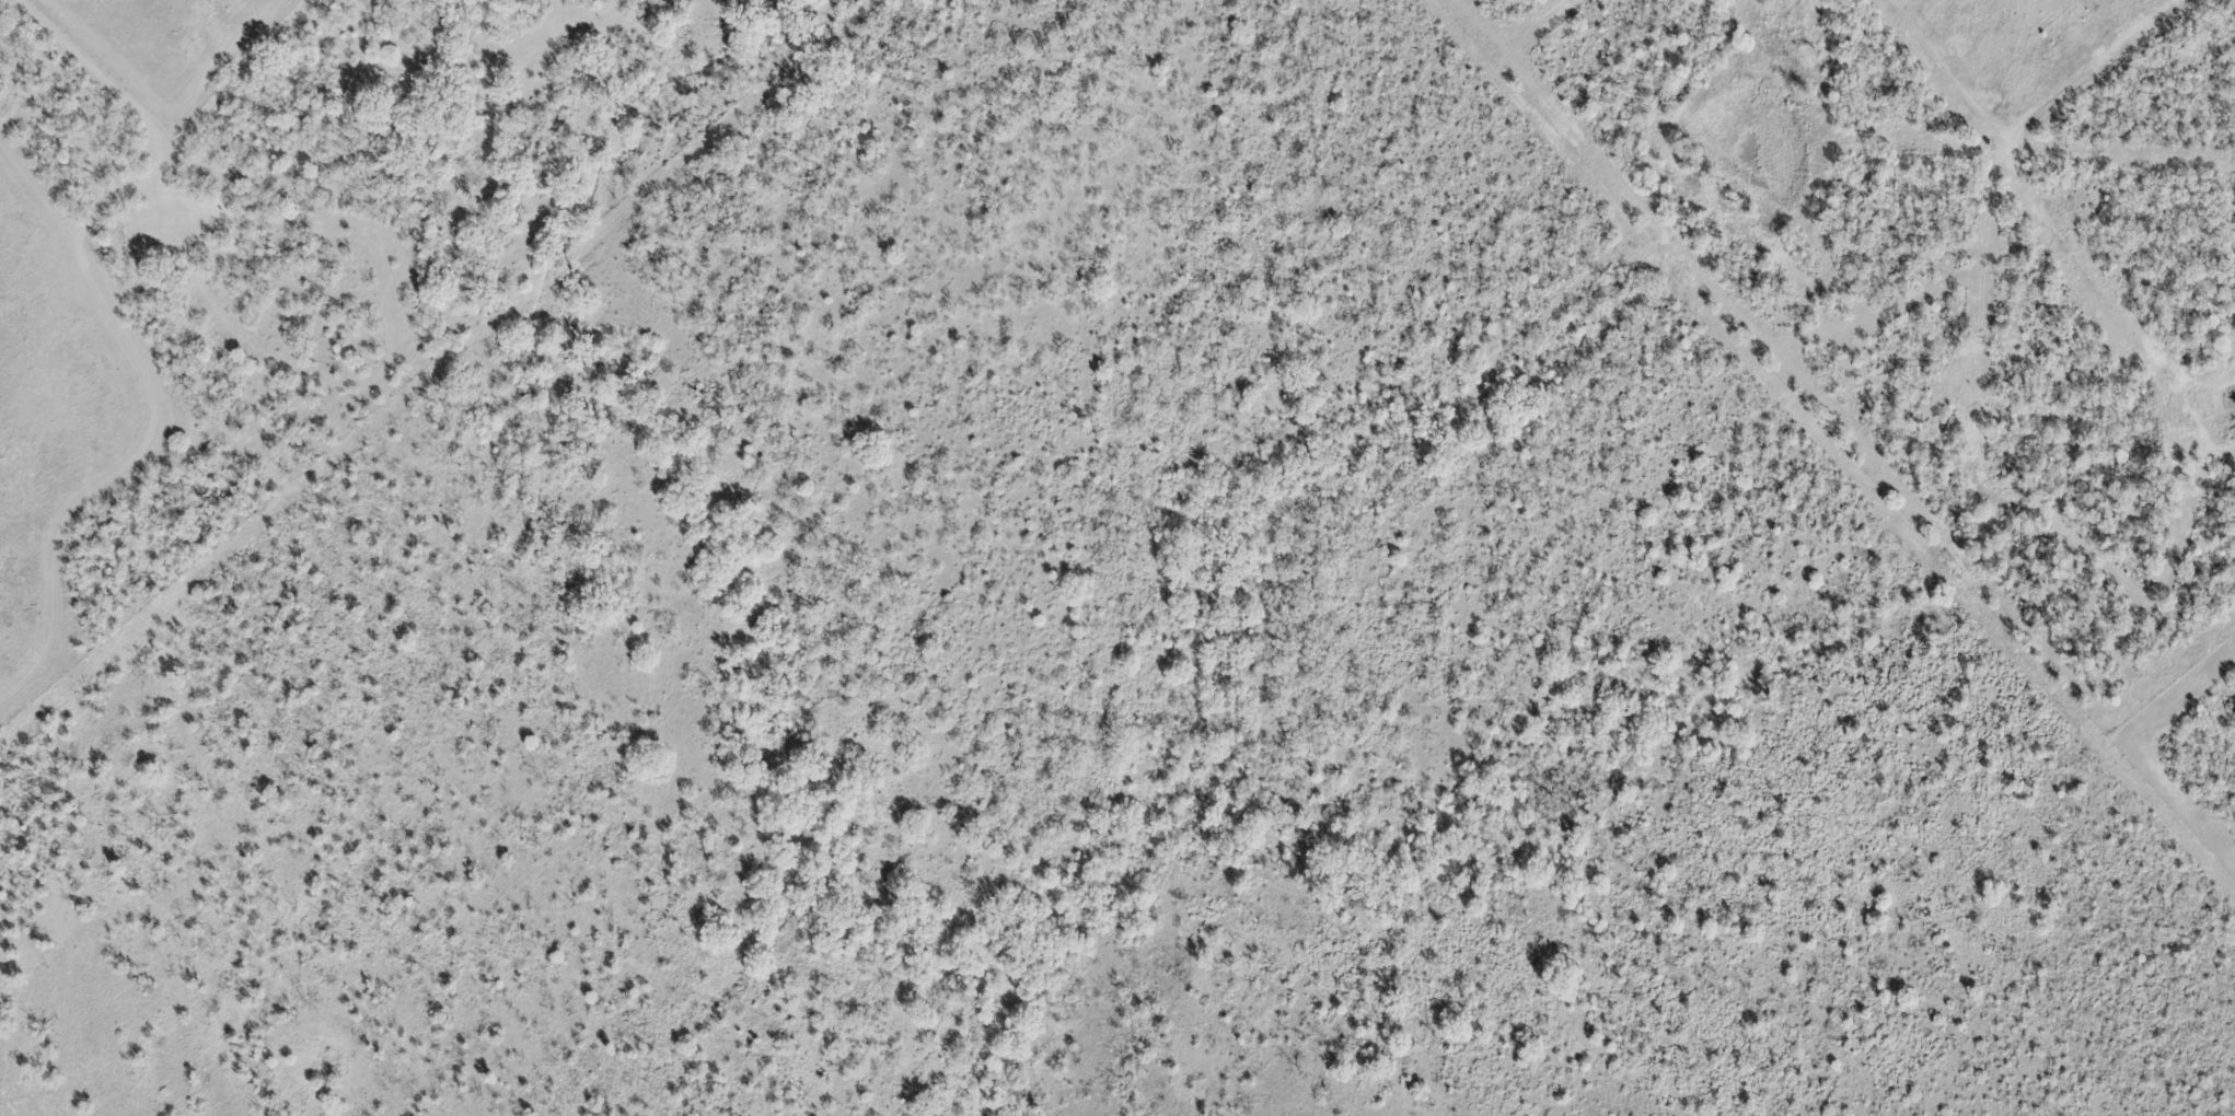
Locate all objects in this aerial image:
road: (1783, 357)

